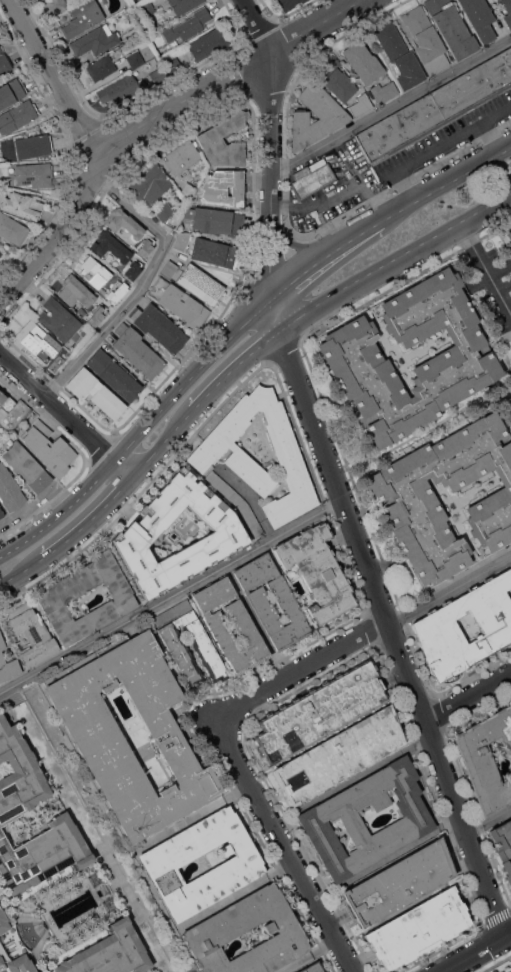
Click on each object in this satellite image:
building: (289, 3)
building: (57, 5)
building: (183, 5)
building: (146, 8)
building: (507, 11)
building: (82, 18)
building: (479, 18)
building: (188, 25)
building: (451, 27)
building: (127, 34)
building: (425, 39)
building: (95, 40)
building: (208, 43)
building: (399, 55)
building: (135, 58)
building: (156, 60)
building: (363, 61)
building: (4, 62)
building: (173, 66)
building: (101, 67)
building: (159, 74)
road: (58, 77)
building: (335, 77)
building: (121, 89)
building: (11, 91)
building: (383, 91)
building: (361, 104)
building: (437, 106)
road: (391, 107)
building: (17, 115)
building: (333, 116)
road: (149, 120)
building: (224, 140)
road: (487, 140)
building: (33, 145)
road: (435, 147)
building: (181, 158)
building: (34, 173)
building: (312, 178)
building: (150, 183)
building: (224, 187)
building: (188, 190)
road: (335, 193)
building: (23, 204)
building: (164, 210)
building: (215, 220)
building: (126, 223)
building: (12, 229)
building: (182, 240)
building: (507, 240)
building: (111, 246)
road: (306, 246)
building: (146, 247)
building: (214, 252)
building: (169, 268)
building: (133, 270)
road: (485, 270)
building: (93, 271)
building: (200, 283)
road: (142, 285)
building: (77, 293)
building: (179, 301)
building: (59, 319)
building: (159, 326)
road: (238, 331)
building: (38, 341)
building: (138, 350)
building: (349, 354)
road: (235, 366)
building: (114, 374)
building: (95, 391)
building: (6, 400)
road: (67, 416)
building: (48, 447)
building: (205, 453)
building: (26, 466)
road: (331, 477)
building: (10, 490)
building: (406, 500)
building: (235, 502)
building: (1, 513)
building: (0, 517)
building: (187, 526)
building: (140, 532)
building: (510, 564)
building: (318, 572)
road: (447, 589)
road: (168, 595)
building: (55, 597)
building: (286, 601)
building: (243, 624)
building: (434, 624)
building: (31, 633)
building: (171, 637)
building: (7, 663)
road: (299, 673)
road: (464, 693)
building: (320, 709)
building: (96, 735)
building: (339, 755)
building: (485, 758)
building: (19, 774)
building: (415, 818)
road: (488, 822)
road: (91, 830)
building: (503, 845)
road: (286, 847)
building: (43, 853)
building: (239, 865)
building: (399, 882)
building: (220, 926)
building: (419, 928)
building: (14, 947)
building: (110, 952)
road: (477, 953)
building: (312, 967)
building: (509, 971)

